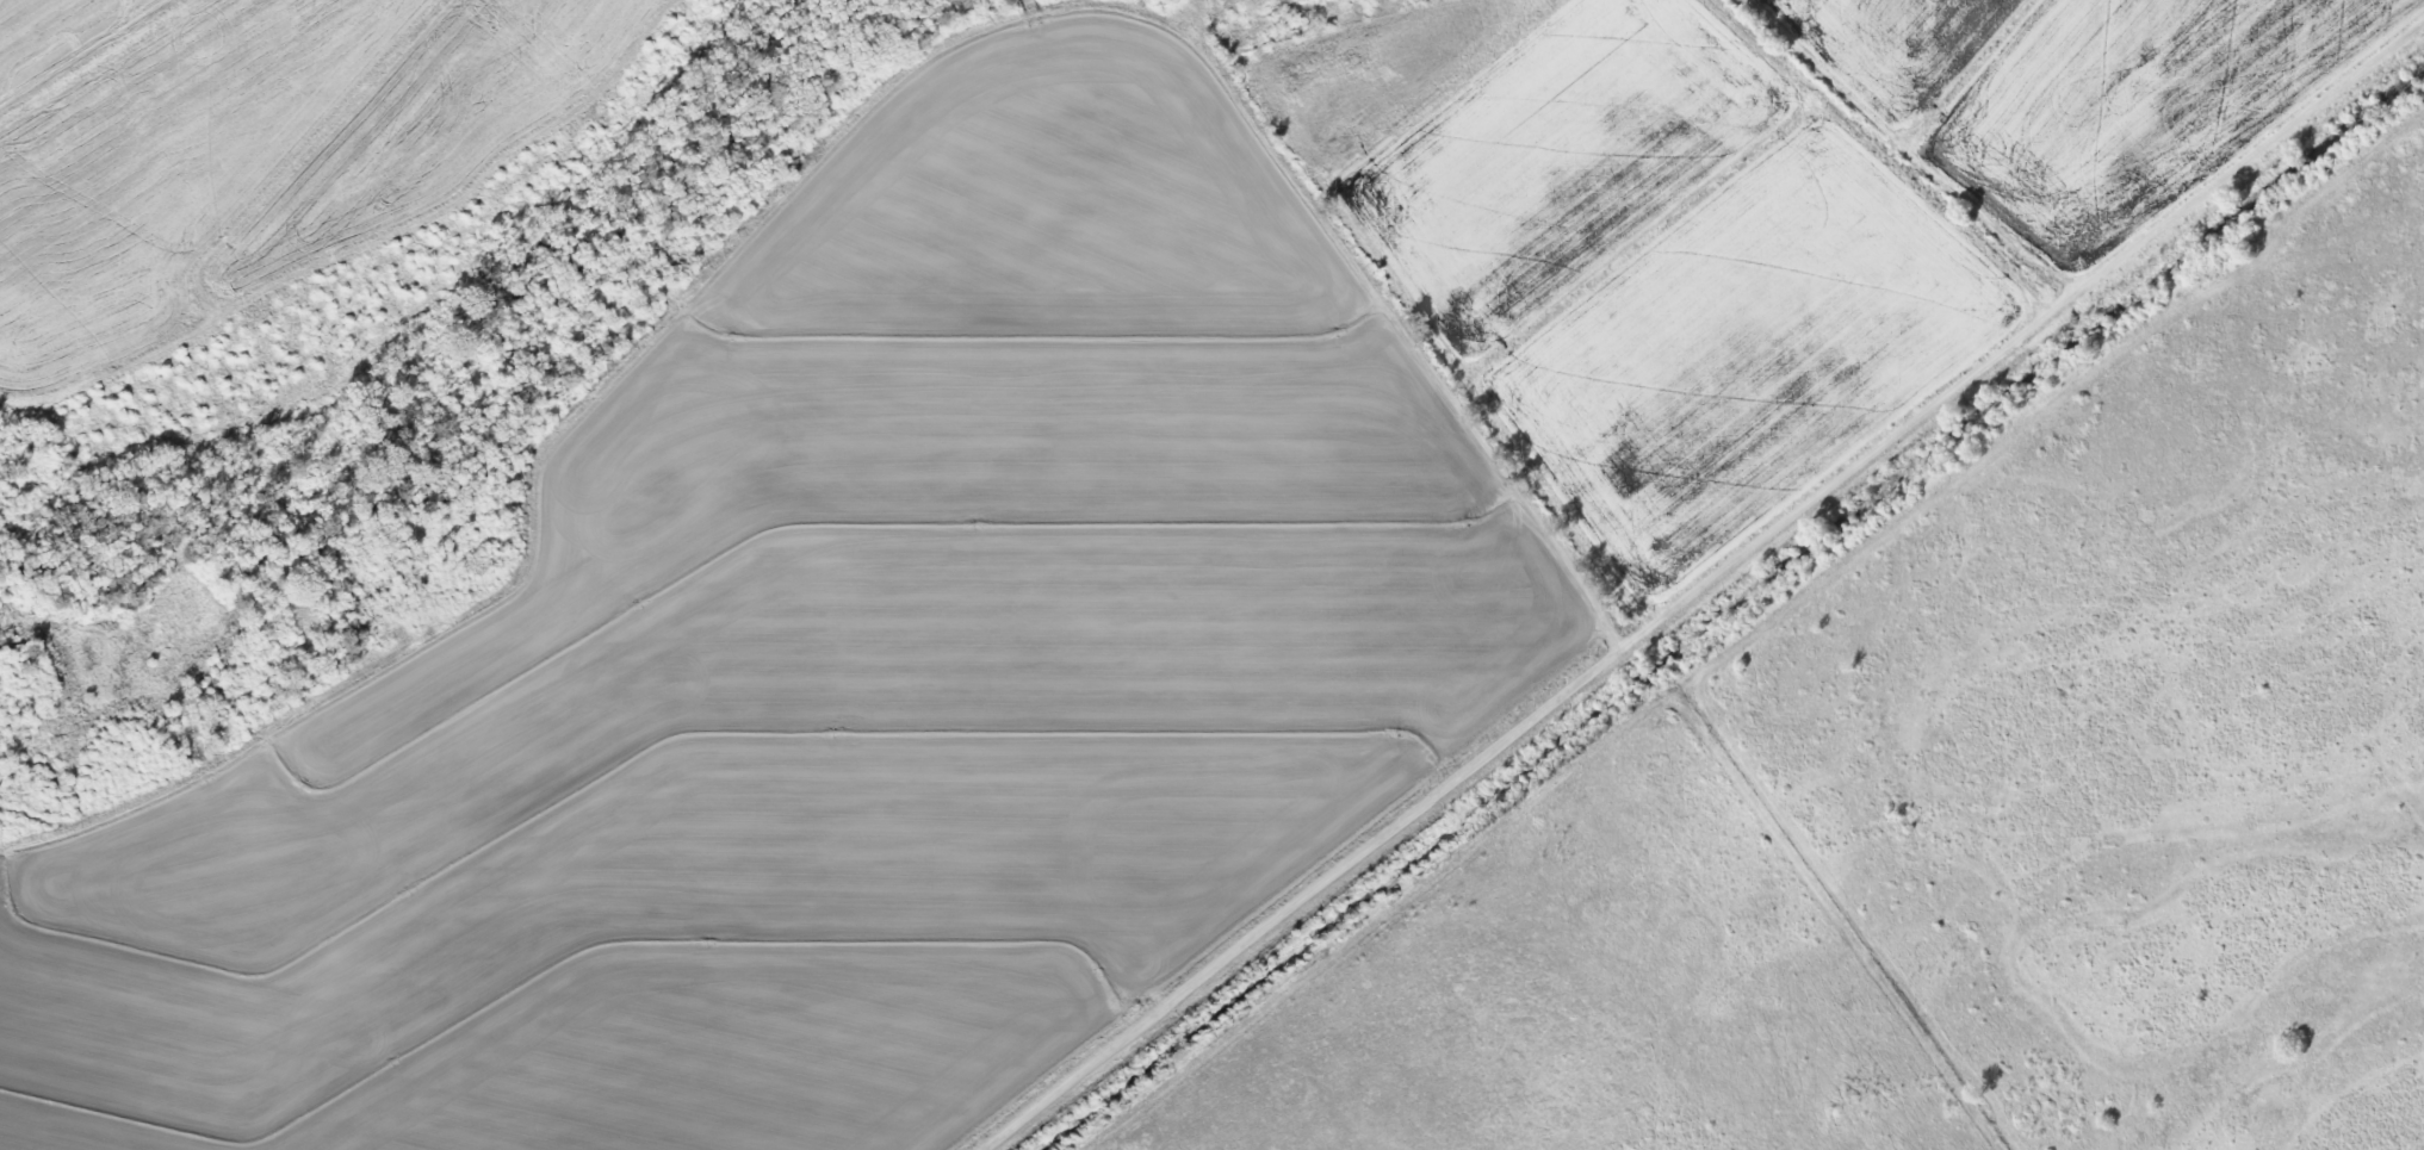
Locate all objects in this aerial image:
road: (1674, 573)
road: (826, 847)

